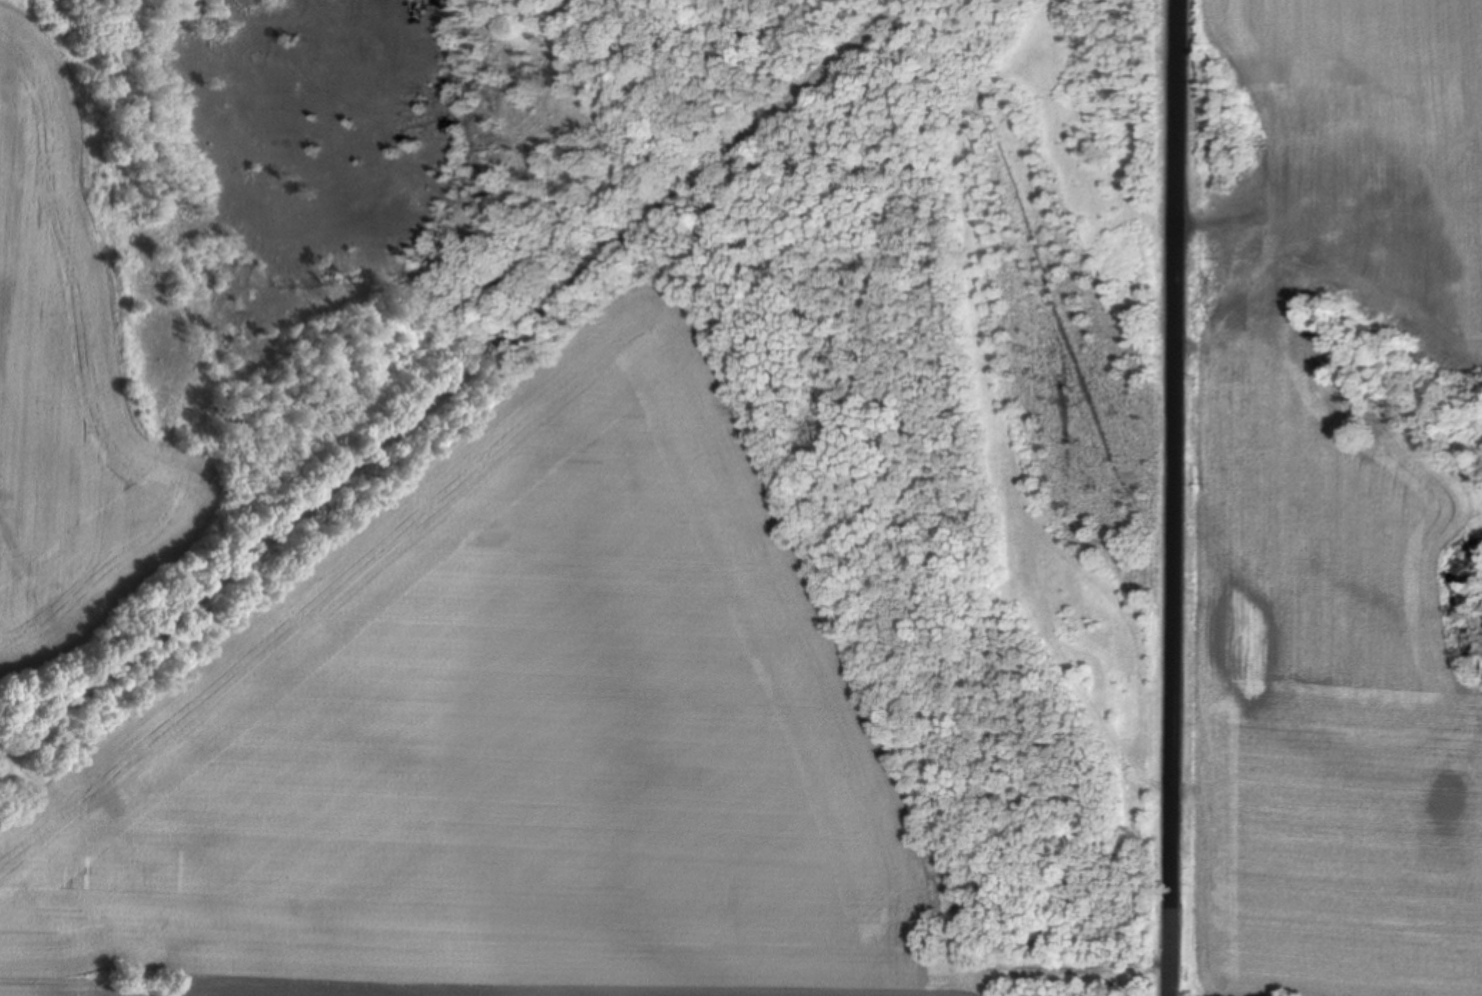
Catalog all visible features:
road: (457, 389)
road: (1175, 498)

